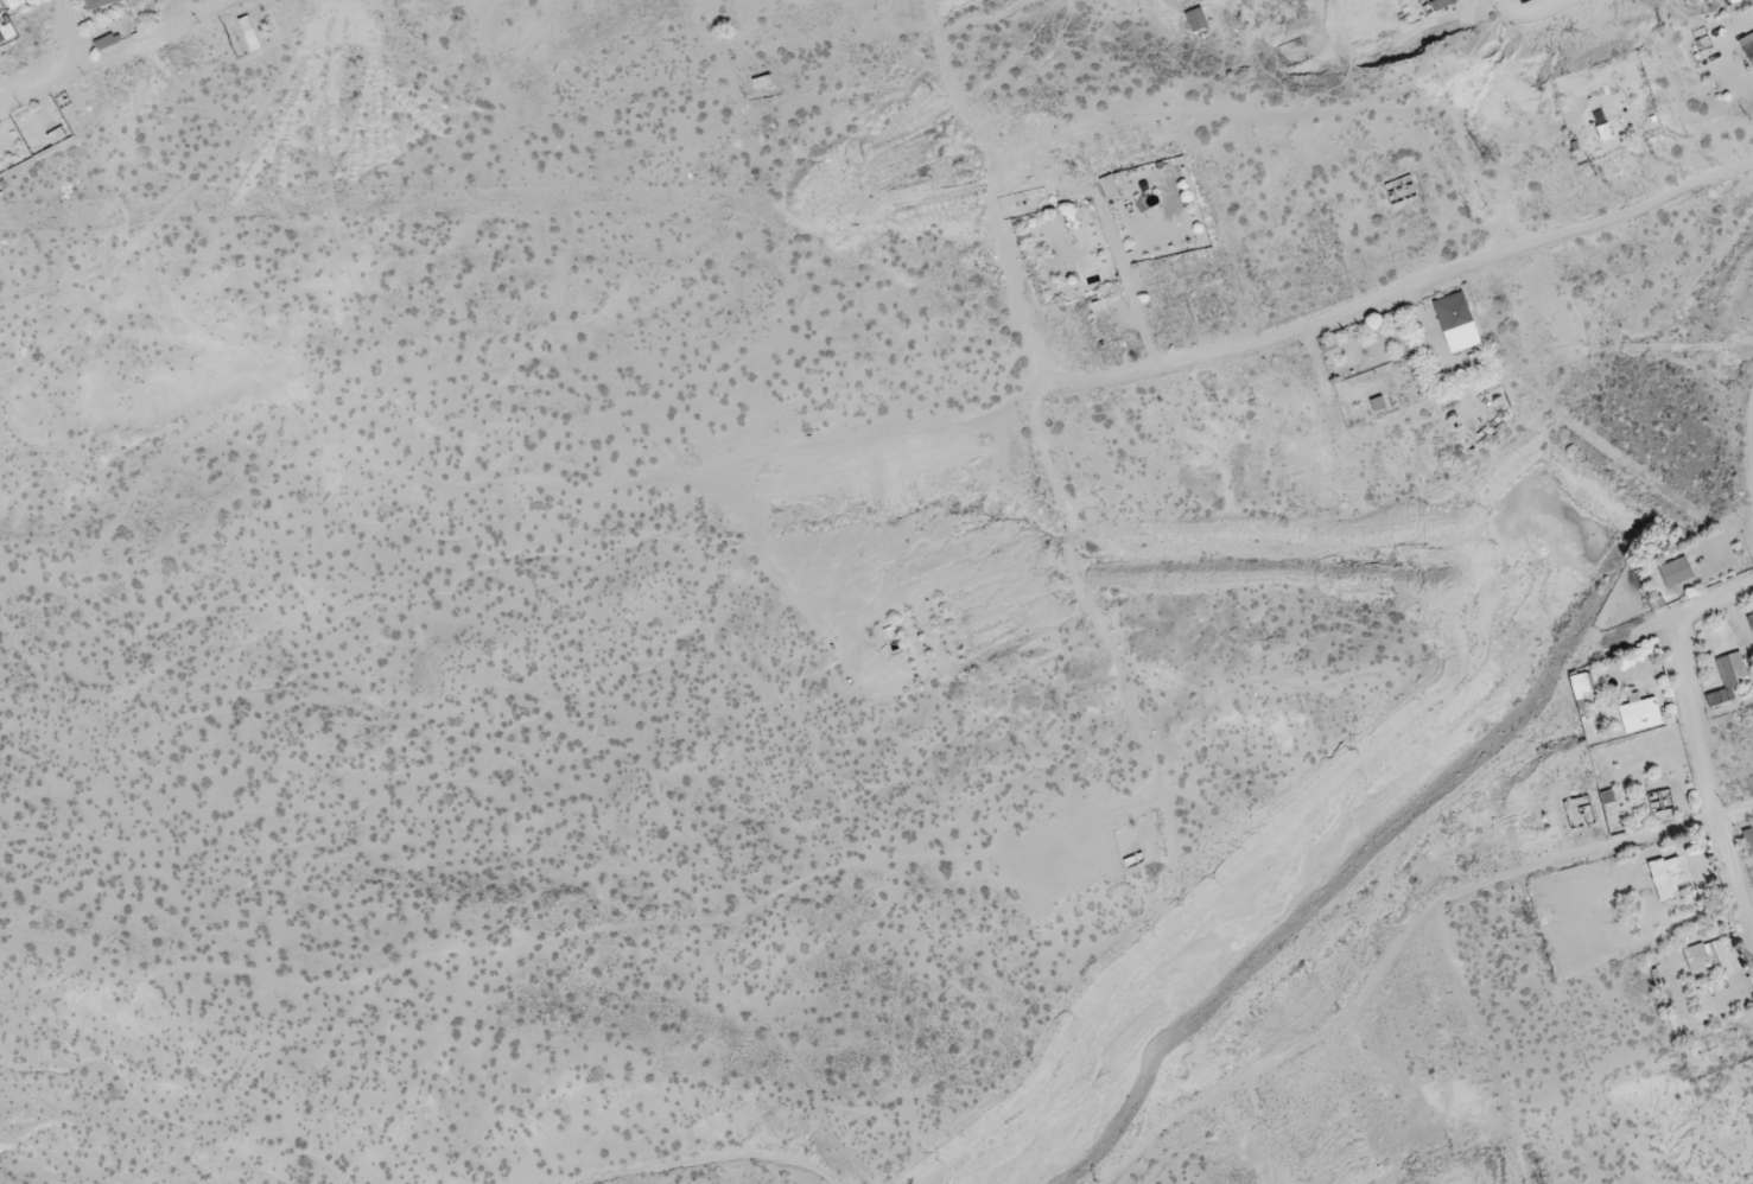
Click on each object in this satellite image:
water tower: (999, 142)

